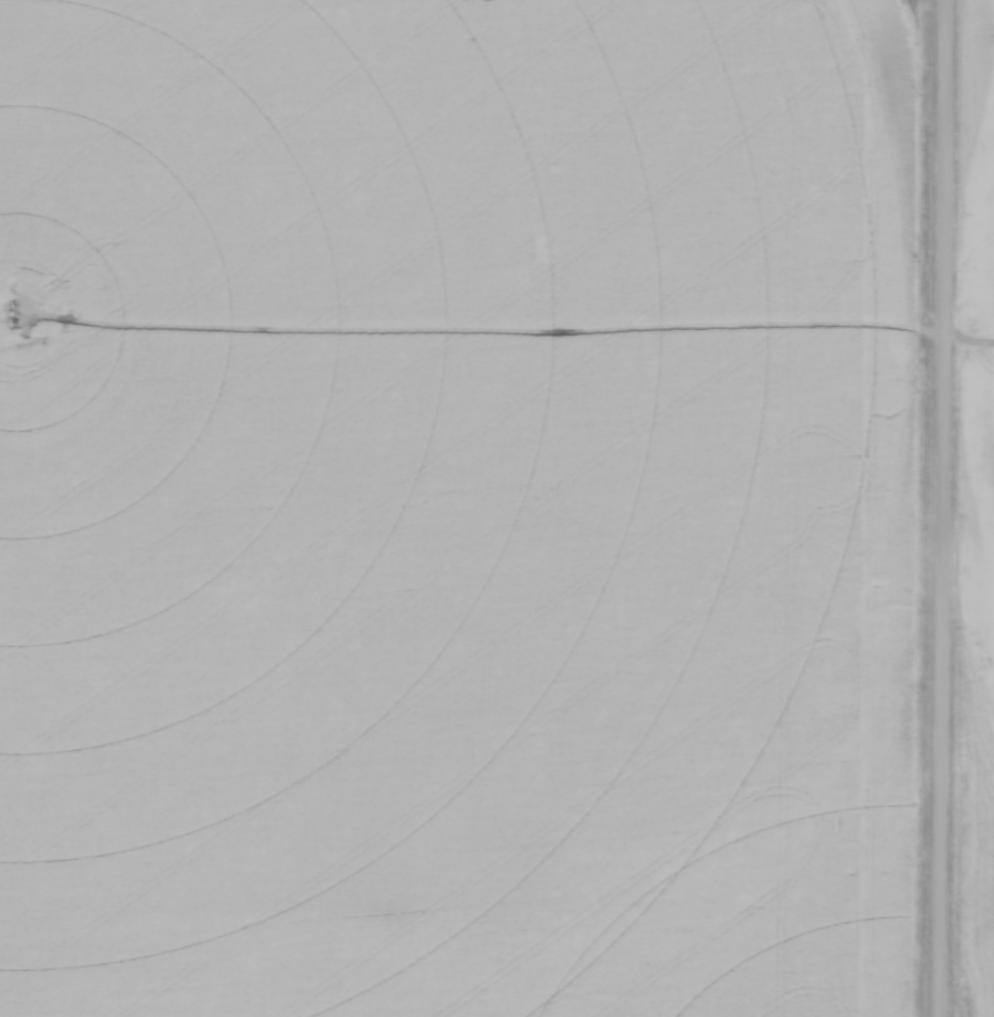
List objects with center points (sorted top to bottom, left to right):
road: (939, 508)

